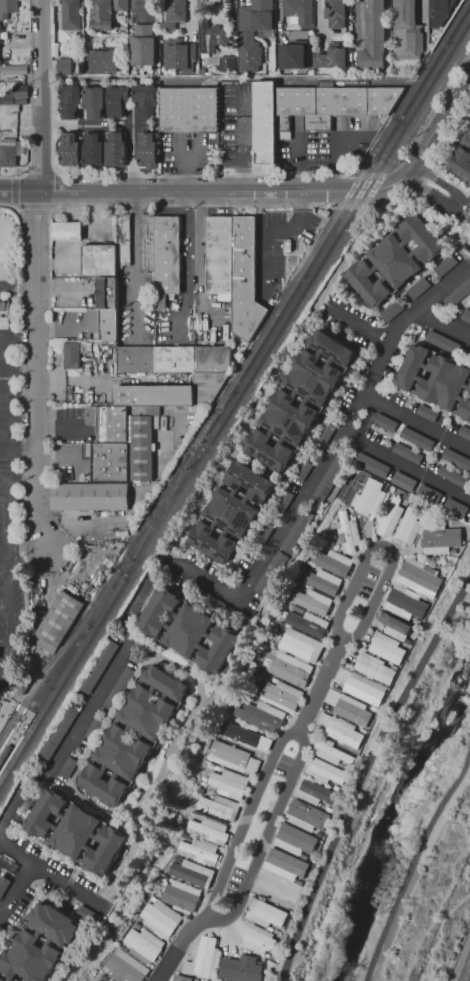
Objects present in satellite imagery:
building: (119, 5)
building: (8, 8)
building: (175, 10)
building: (303, 12)
building: (440, 12)
building: (337, 13)
building: (69, 14)
building: (101, 14)
building: (252, 32)
building: (407, 32)
building: (210, 36)
building: (373, 36)
building: (143, 46)
building: (294, 54)
building: (178, 56)
building: (332, 59)
building: (101, 60)
building: (226, 62)
building: (63, 66)
building: (12, 69)
building: (14, 95)
road: (41, 95)
building: (145, 99)
road: (29, 100)
building: (116, 100)
building: (69, 101)
building: (94, 101)
building: (335, 103)
building: (189, 109)
building: (266, 122)
road: (69, 124)
road: (435, 128)
building: (467, 137)
building: (69, 149)
building: (91, 149)
road: (130, 149)
road: (333, 149)
building: (114, 150)
building: (146, 150)
building: (7, 151)
road: (238, 154)
road: (293, 160)
building: (461, 163)
road: (180, 166)
road: (116, 175)
road: (441, 184)
road: (199, 188)
road: (436, 197)
road: (289, 205)
road: (17, 207)
building: (324, 213)
railway: (328, 225)
building: (66, 230)
railway: (334, 235)
building: (422, 237)
building: (123, 240)
building: (162, 252)
road: (134, 256)
road: (186, 256)
building: (99, 260)
building: (394, 261)
building: (446, 265)
building: (234, 269)
building: (367, 284)
building: (420, 288)
building: (106, 292)
building: (457, 294)
building: (3, 311)
building: (392, 311)
building: (466, 315)
road: (442, 320)
building: (103, 323)
road: (365, 329)
road: (58, 331)
building: (443, 341)
building: (332, 348)
park: (4, 356)
building: (72, 356)
building: (413, 367)
road: (37, 370)
road: (19, 371)
building: (316, 378)
building: (209, 379)
road: (64, 380)
building: (444, 381)
building: (469, 389)
park: (5, 397)
building: (465, 409)
building: (427, 412)
railway: (235, 413)
building: (291, 417)
road: (414, 420)
building: (108, 422)
building: (384, 422)
building: (325, 431)
building: (464, 432)
park: (4, 434)
building: (416, 438)
building: (140, 448)
building: (271, 452)
building: (407, 452)
building: (456, 457)
building: (109, 459)
road: (404, 463)
building: (372, 465)
road: (4, 470)
building: (302, 470)
building: (453, 476)
building: (327, 479)
building: (250, 481)
building: (404, 481)
building: (429, 494)
building: (368, 497)
building: (89, 499)
building: (284, 500)
road: (4, 505)
building: (455, 508)
railway: (154, 510)
railway: (158, 511)
building: (231, 511)
railway: (158, 512)
railway: (162, 514)
building: (388, 515)
building: (407, 524)
building: (296, 530)
building: (265, 532)
building: (344, 534)
road: (5, 539)
building: (442, 540)
building: (212, 542)
road: (10, 555)
building: (329, 563)
road: (5, 573)
building: (271, 577)
building: (419, 579)
building: (318, 583)
road: (242, 593)
road: (375, 594)
building: (308, 601)
building: (406, 602)
building: (220, 604)
road: (6, 608)
building: (159, 612)
building: (58, 621)
building: (393, 622)
building: (304, 625)
building: (189, 630)
road: (5, 641)
railway: (66, 645)
building: (299, 648)
building: (386, 649)
building: (219, 650)
railway: (74, 657)
road: (9, 662)
building: (97, 665)
building: (374, 668)
building: (289, 670)
building: (168, 683)
building: (23, 685)
building: (121, 687)
building: (365, 691)
building: (279, 696)
road: (18, 706)
road: (6, 713)
building: (353, 713)
building: (149, 714)
building: (257, 717)
road: (25, 719)
building: (97, 723)
building: (59, 731)
railway: (6, 732)
building: (344, 733)
building: (244, 736)
railway: (20, 737)
road: (298, 738)
building: (125, 752)
building: (333, 754)
building: (228, 755)
railway: (11, 761)
building: (68, 768)
building: (328, 771)
road: (363, 772)
building: (227, 783)
building: (104, 785)
building: (321, 792)
building: (215, 808)
building: (47, 813)
building: (308, 813)
building: (206, 830)
building: (77, 832)
building: (297, 837)
building: (107, 850)
building: (196, 852)
road: (414, 862)
building: (287, 863)
building: (7, 864)
road: (52, 875)
building: (185, 875)
building: (3, 885)
road: (17, 887)
building: (276, 889)
road: (441, 895)
building: (179, 898)
building: (266, 911)
building: (87, 914)
building: (158, 918)
building: (53, 923)
building: (259, 939)
road: (174, 946)
building: (141, 947)
building: (206, 955)
building: (31, 958)
building: (123, 968)
building: (242, 969)
building: (181, 978)
building: (1, 980)
building: (95, 980)
building: (107, 980)
building: (204, 980)

